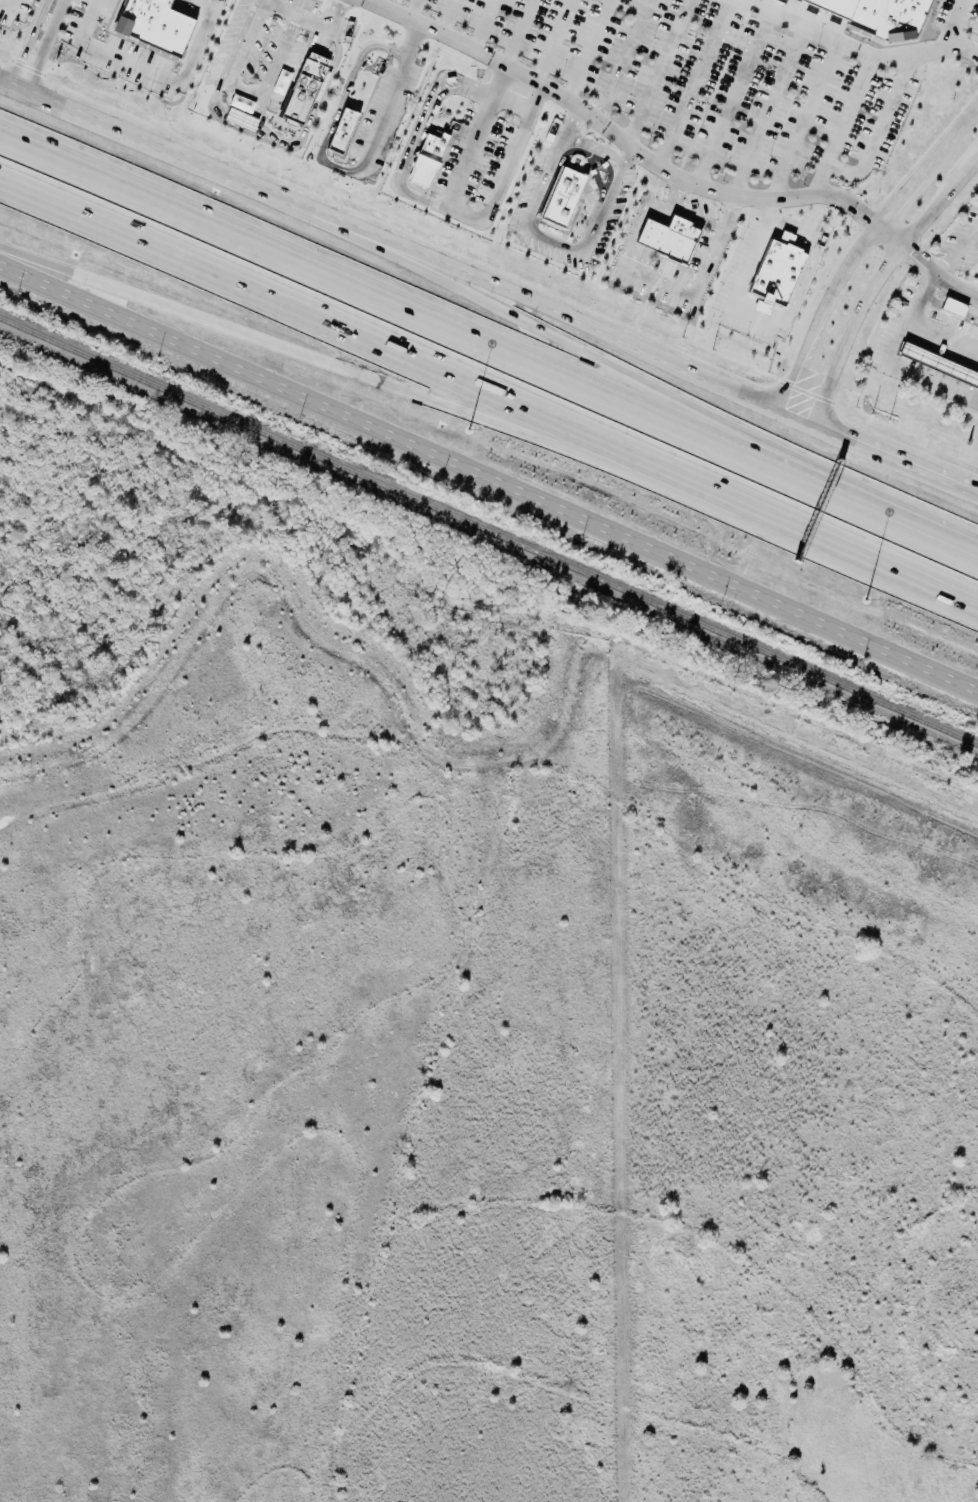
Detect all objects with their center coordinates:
road: (377, 1)
building: (776, 2)
road: (6, 3)
road: (412, 8)
road: (284, 9)
road: (450, 16)
building: (878, 16)
road: (484, 24)
road: (952, 24)
road: (966, 24)
building: (152, 26)
road: (521, 32)
road: (458, 40)
road: (555, 41)
road: (28, 42)
road: (42, 45)
road: (854, 48)
road: (589, 51)
road: (623, 60)
road: (153, 72)
road: (658, 72)
building: (282, 82)
road: (693, 83)
road: (266, 87)
building: (304, 90)
road: (393, 94)
road: (732, 98)
building: (242, 104)
road: (339, 104)
road: (512, 104)
road: (848, 110)
road: (770, 112)
building: (241, 120)
road: (803, 120)
road: (420, 130)
building: (342, 132)
road: (474, 136)
road: (299, 139)
road: (874, 143)
road: (595, 149)
road: (180, 158)
road: (629, 158)
building: (427, 161)
road: (503, 174)
road: (762, 197)
building: (561, 198)
road: (683, 212)
road: (637, 229)
road: (535, 233)
building: (670, 239)
road: (647, 241)
parking lot: (962, 248)
road: (862, 252)
road: (958, 254)
building: (776, 272)
road: (878, 283)
road: (701, 284)
building: (956, 310)
road: (763, 322)
road: (588, 333)
road: (942, 338)
road: (925, 342)
road: (489, 344)
road: (956, 355)
road: (919, 359)
road: (892, 362)
building: (939, 367)
gas station: (939, 367)
road: (337, 368)
road: (914, 371)
road: (949, 372)
road: (944, 383)
road: (489, 385)
road: (976, 386)
road: (667, 392)
road: (973, 395)
road: (891, 460)
road: (489, 471)
road: (972, 493)
railway: (489, 533)

